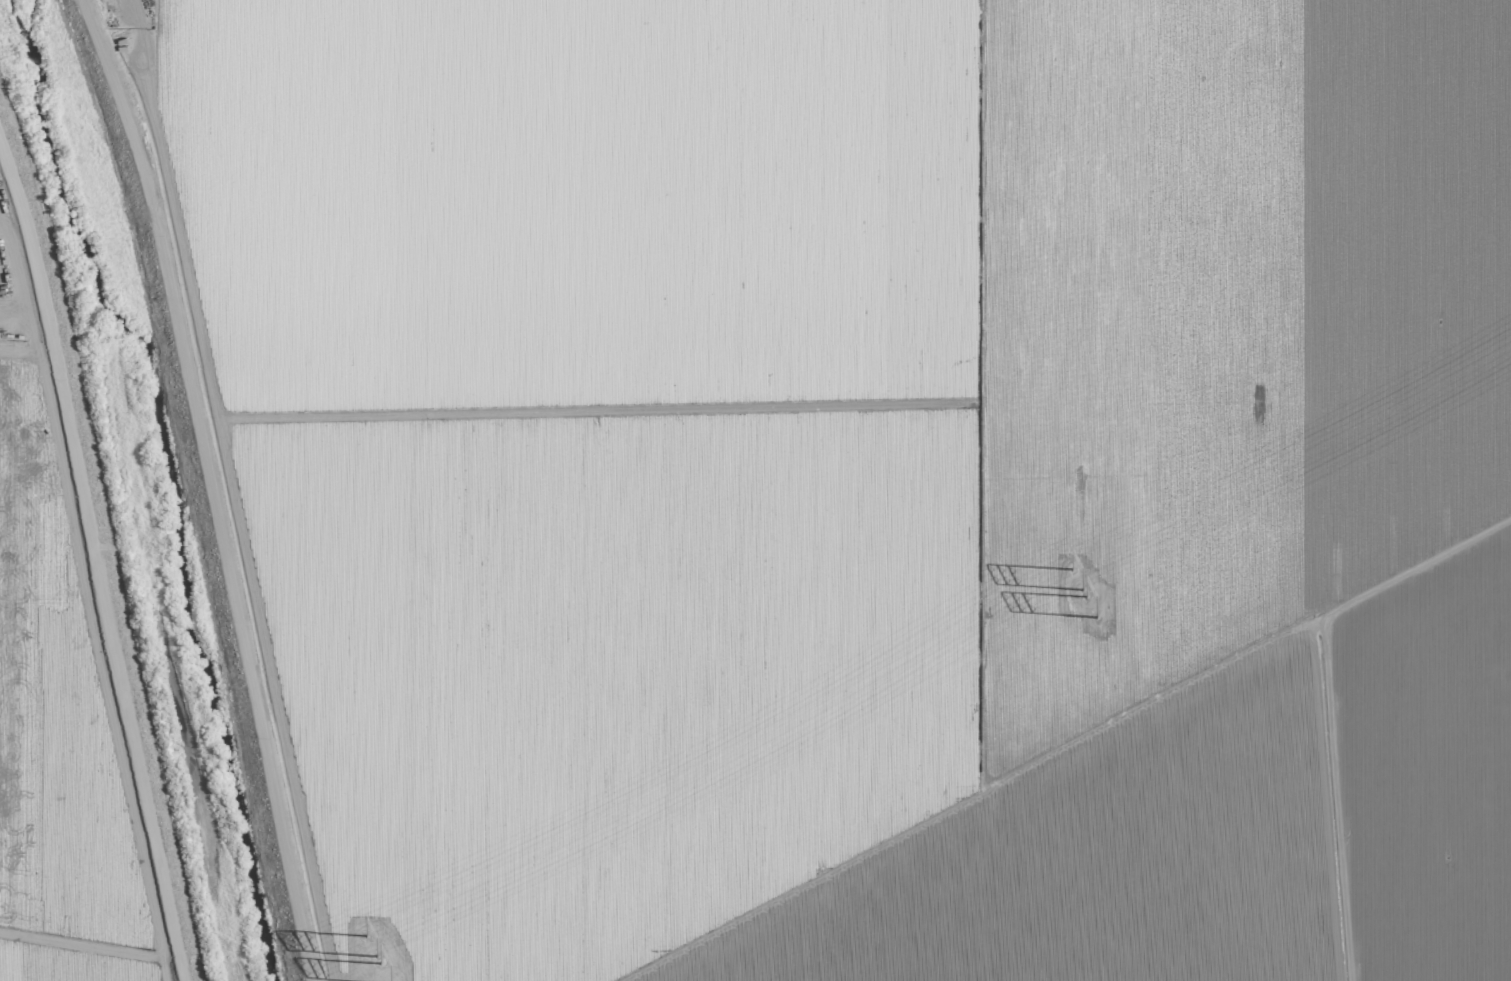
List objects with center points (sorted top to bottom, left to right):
road: (26, 250)
crop: (856, 476)
power tower: (1078, 571)
power tower: (1093, 597)
crop: (68, 684)
power tower: (370, 943)
power tower: (383, 970)

